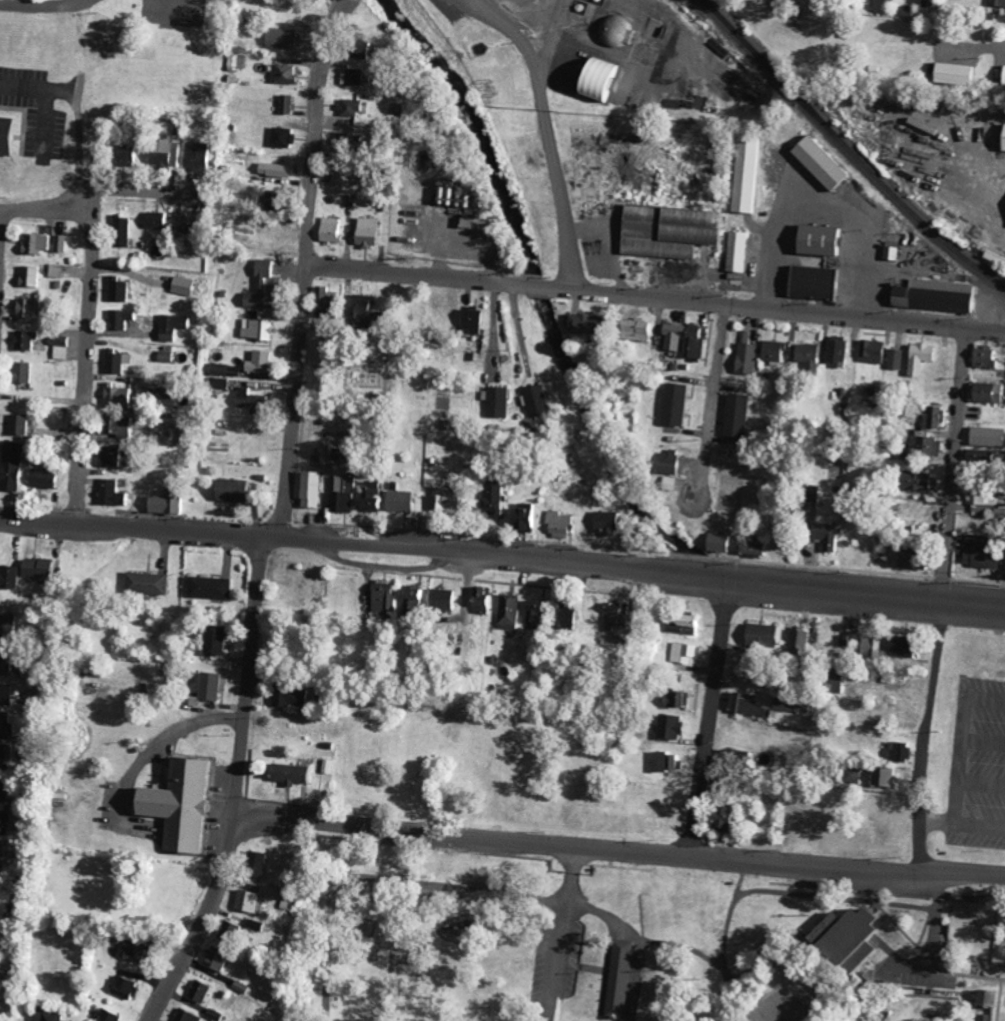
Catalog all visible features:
road: (34, 1)
building: (998, 3)
building: (619, 32)
building: (286, 38)
building: (287, 74)
building: (951, 74)
building: (356, 76)
building: (607, 80)
building: (290, 103)
road: (79, 105)
building: (354, 106)
road: (548, 127)
road: (312, 128)
building: (9, 135)
building: (287, 137)
building: (1001, 138)
building: (346, 142)
railway: (848, 149)
building: (129, 154)
building: (169, 155)
building: (202, 155)
building: (827, 163)
building: (278, 169)
building: (346, 173)
building: (752, 174)
road: (89, 192)
building: (453, 192)
building: (280, 198)
building: (160, 220)
road: (2, 228)
building: (335, 229)
building: (677, 230)
building: (125, 231)
building: (372, 232)
building: (825, 240)
building: (40, 242)
building: (64, 243)
building: (741, 251)
building: (998, 262)
building: (59, 270)
building: (35, 276)
building: (821, 282)
building: (188, 285)
building: (265, 286)
building: (122, 289)
road: (654, 294)
building: (931, 295)
building: (331, 303)
building: (34, 307)
building: (370, 311)
building: (125, 318)
building: (477, 320)
building: (592, 323)
building: (176, 326)
building: (262, 326)
building: (644, 331)
building: (689, 339)
building: (30, 340)
building: (64, 347)
building: (777, 351)
building: (840, 351)
building: (873, 351)
building: (985, 354)
building: (813, 355)
road: (87, 356)
building: (168, 356)
building: (919, 357)
building: (751, 358)
building: (895, 359)
building: (118, 361)
building: (263, 362)
building: (227, 370)
road: (716, 391)
building: (984, 392)
building: (121, 395)
road: (294, 399)
building: (253, 400)
building: (541, 400)
building: (502, 401)
building: (680, 404)
building: (741, 415)
building: (933, 417)
building: (25, 424)
building: (124, 426)
building: (985, 436)
building: (925, 445)
building: (115, 456)
building: (675, 462)
building: (15, 466)
building: (49, 476)
building: (916, 481)
building: (315, 489)
building: (238, 490)
building: (116, 493)
building: (348, 493)
building: (377, 496)
building: (452, 498)
building: (981, 499)
building: (502, 500)
building: (406, 501)
building: (171, 502)
building: (530, 517)
building: (612, 522)
building: (564, 523)
building: (834, 537)
building: (725, 542)
building: (762, 549)
road: (503, 552)
building: (978, 553)
building: (906, 556)
building: (44, 567)
building: (16, 576)
building: (150, 583)
building: (213, 587)
building: (387, 597)
building: (449, 598)
road: (945, 599)
building: (487, 600)
building: (420, 602)
building: (514, 611)
building: (540, 613)
building: (572, 616)
building: (620, 616)
building: (692, 622)
building: (11, 627)
building: (767, 635)
building: (220, 640)
building: (802, 640)
building: (848, 640)
building: (876, 645)
building: (909, 646)
building: (688, 652)
building: (8, 658)
road: (252, 671)
building: (215, 686)
building: (8, 693)
building: (295, 697)
building: (681, 698)
road: (992, 699)
building: (749, 703)
building: (794, 705)
road: (712, 713)
building: (7, 726)
building: (676, 726)
road: (985, 742)
building: (902, 751)
road: (964, 752)
building: (7, 756)
building: (673, 761)
building: (731, 762)
building: (296, 774)
building: (856, 775)
building: (890, 777)
road: (983, 782)
building: (721, 785)
building: (8, 787)
building: (184, 804)
road: (941, 817)
building: (5, 819)
building: (731, 820)
road: (978, 826)
road: (620, 847)
building: (1, 850)
building: (264, 863)
building: (0, 877)
building: (252, 901)
road: (205, 918)
building: (235, 932)
park: (626, 933)
building: (855, 935)
building: (141, 952)
building: (222, 958)
building: (623, 979)
building: (129, 987)
building: (204, 990)
building: (995, 997)
building: (51, 1014)
building: (113, 1015)
building: (191, 1015)
building: (220, 1015)
building: (745, 1020)

